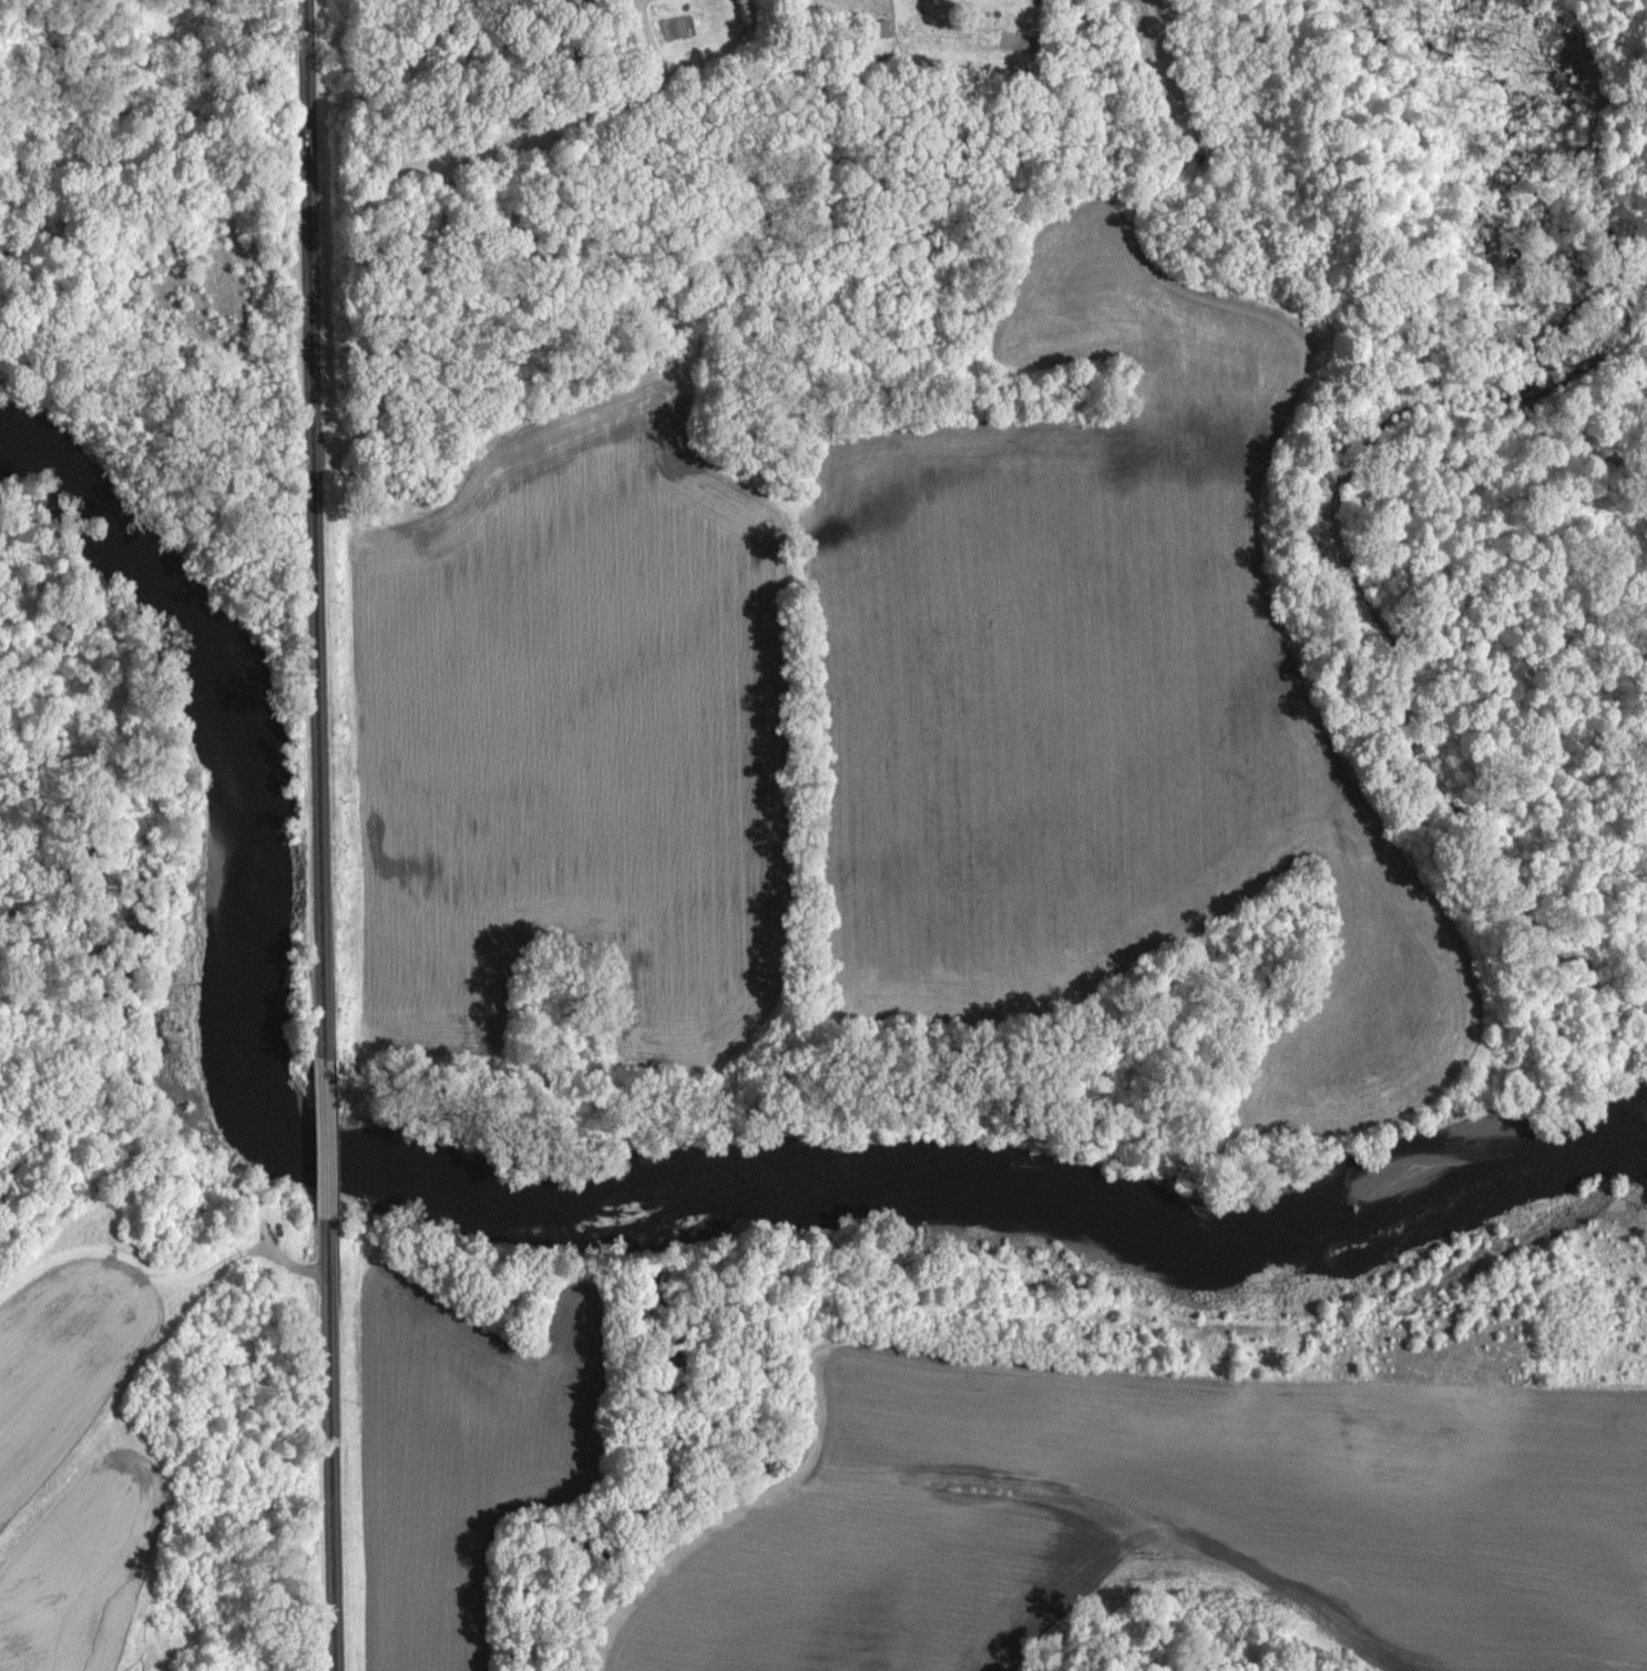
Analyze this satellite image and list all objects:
road: (311, 527)
road: (329, 1138)
river: (579, 1190)
road: (331, 1445)

